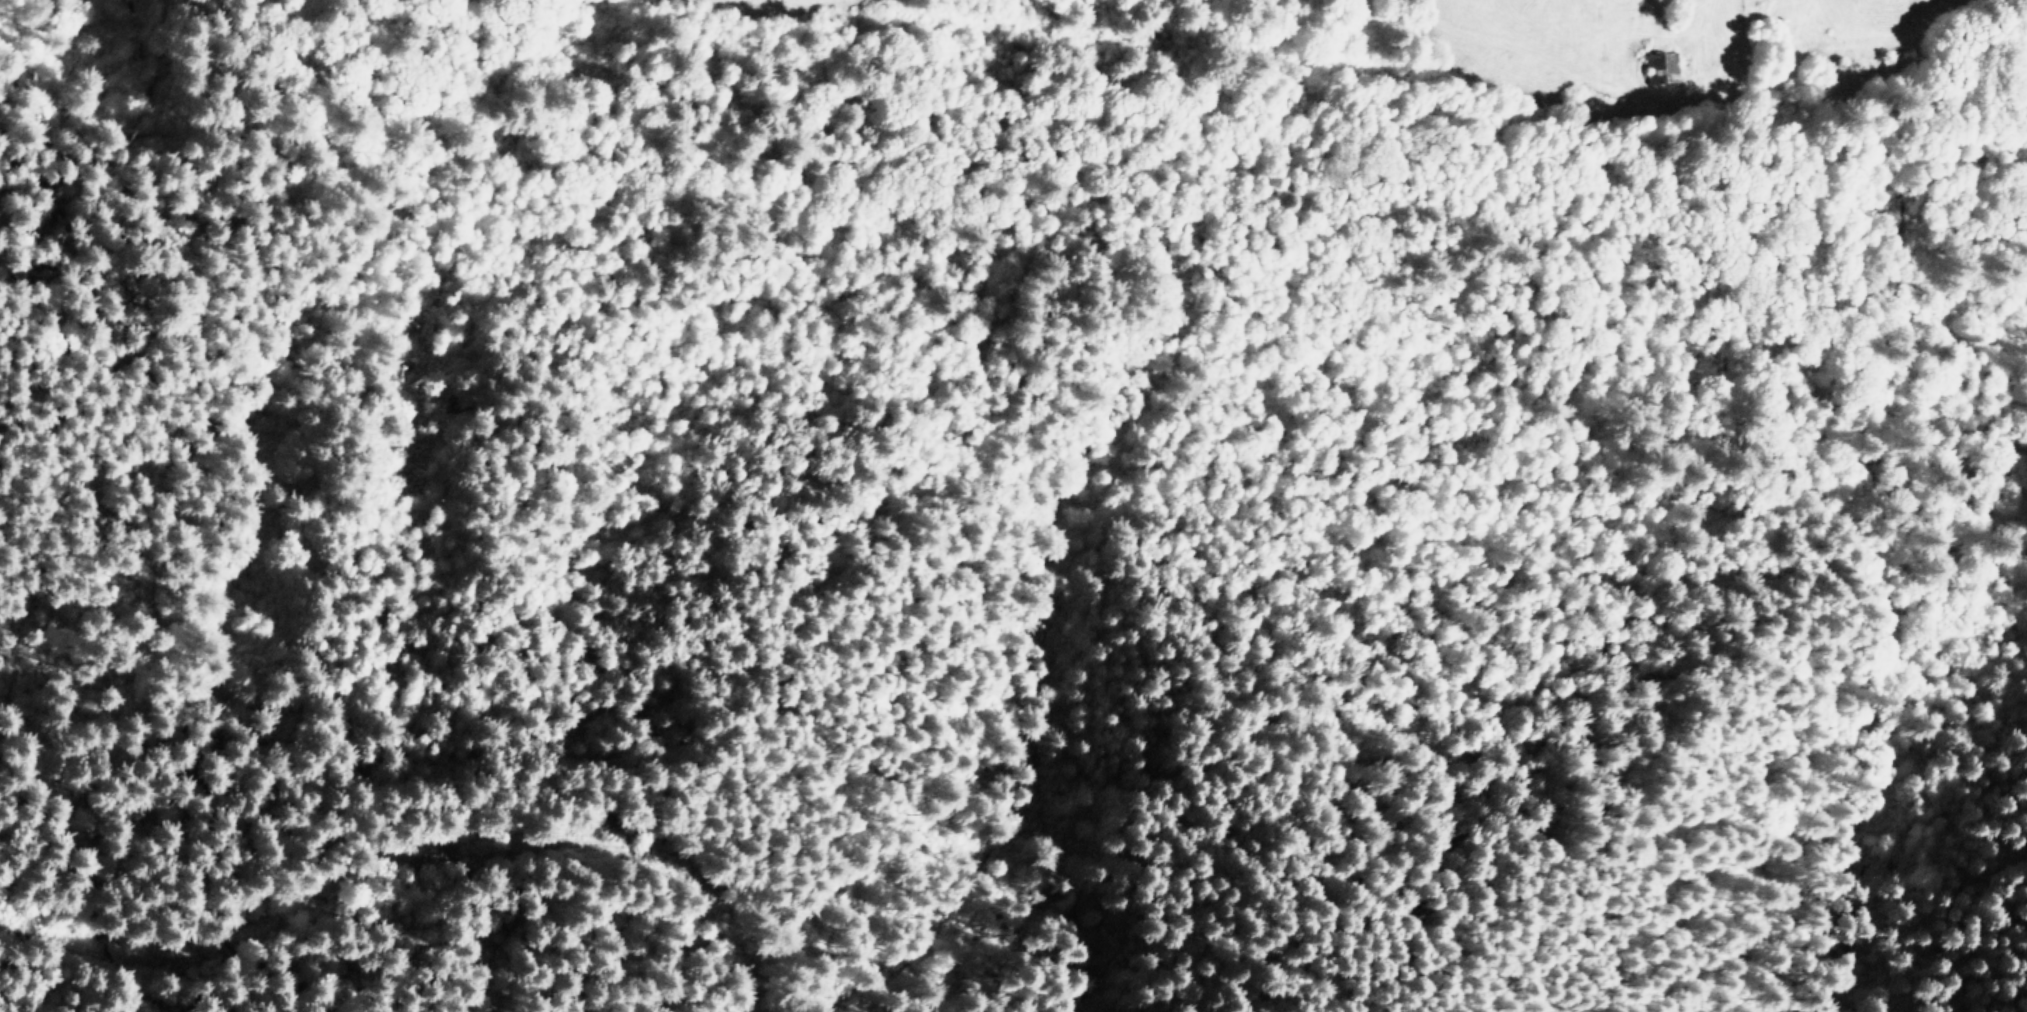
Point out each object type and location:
road: (992, 262)
road: (400, 862)
road: (579, 994)

